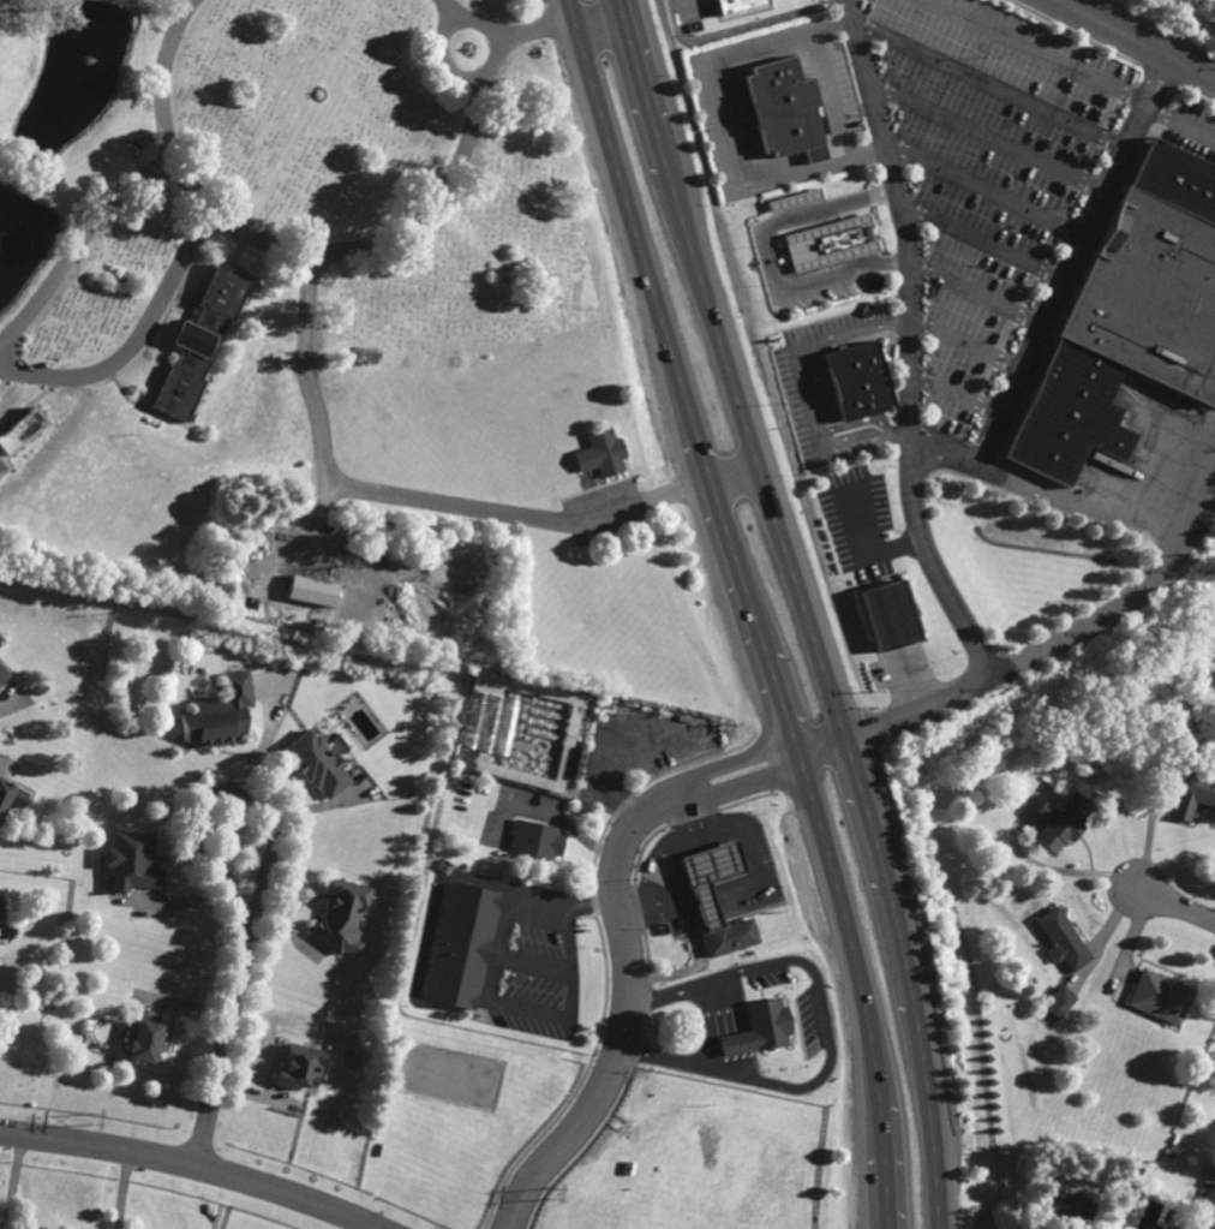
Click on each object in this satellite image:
building: (740, 7)
gas station: (740, 7)
road: (451, 11)
road: (597, 14)
road: (744, 26)
road: (535, 30)
road: (1137, 40)
road: (498, 44)
road: (1034, 50)
road: (162, 74)
road: (988, 85)
road: (830, 94)
building: (786, 108)
road: (1178, 120)
road: (728, 124)
road: (987, 139)
road: (984, 190)
road: (798, 216)
road: (77, 241)
building: (832, 243)
road: (982, 244)
road: (357, 249)
road: (880, 263)
road: (815, 284)
road: (975, 293)
building: (1131, 312)
park: (328, 338)
road: (138, 340)
building: (199, 341)
road: (910, 341)
road: (965, 345)
road: (1023, 360)
road: (306, 372)
building: (858, 381)
road: (806, 382)
road: (956, 394)
building: (19, 430)
building: (600, 453)
road: (942, 453)
building: (1, 465)
road: (1195, 512)
road: (547, 520)
building: (311, 590)
road: (750, 609)
road: (801, 609)
building: (886, 614)
road: (1017, 658)
building: (4, 673)
building: (496, 710)
building: (220, 712)
road: (816, 747)
road: (726, 762)
building: (317, 763)
building: (483, 766)
road: (735, 786)
building: (11, 795)
building: (1191, 795)
road: (267, 805)
building: (1059, 822)
building: (534, 840)
road: (663, 860)
building: (132, 861)
building: (0, 900)
road: (1174, 907)
building: (343, 915)
building: (728, 938)
building: (1060, 939)
building: (460, 945)
road: (696, 956)
road: (818, 986)
road: (490, 994)
building: (1157, 996)
building: (1058, 1001)
road: (621, 1015)
road: (704, 1027)
building: (754, 1030)
building: (144, 1040)
road: (226, 1060)
road: (662, 1061)
building: (298, 1067)
power tower: (92, 1118)
road: (184, 1167)
road: (12, 1183)
road: (124, 1191)
power tower: (550, 1192)
building: (1063, 1201)
building: (1207, 1204)

